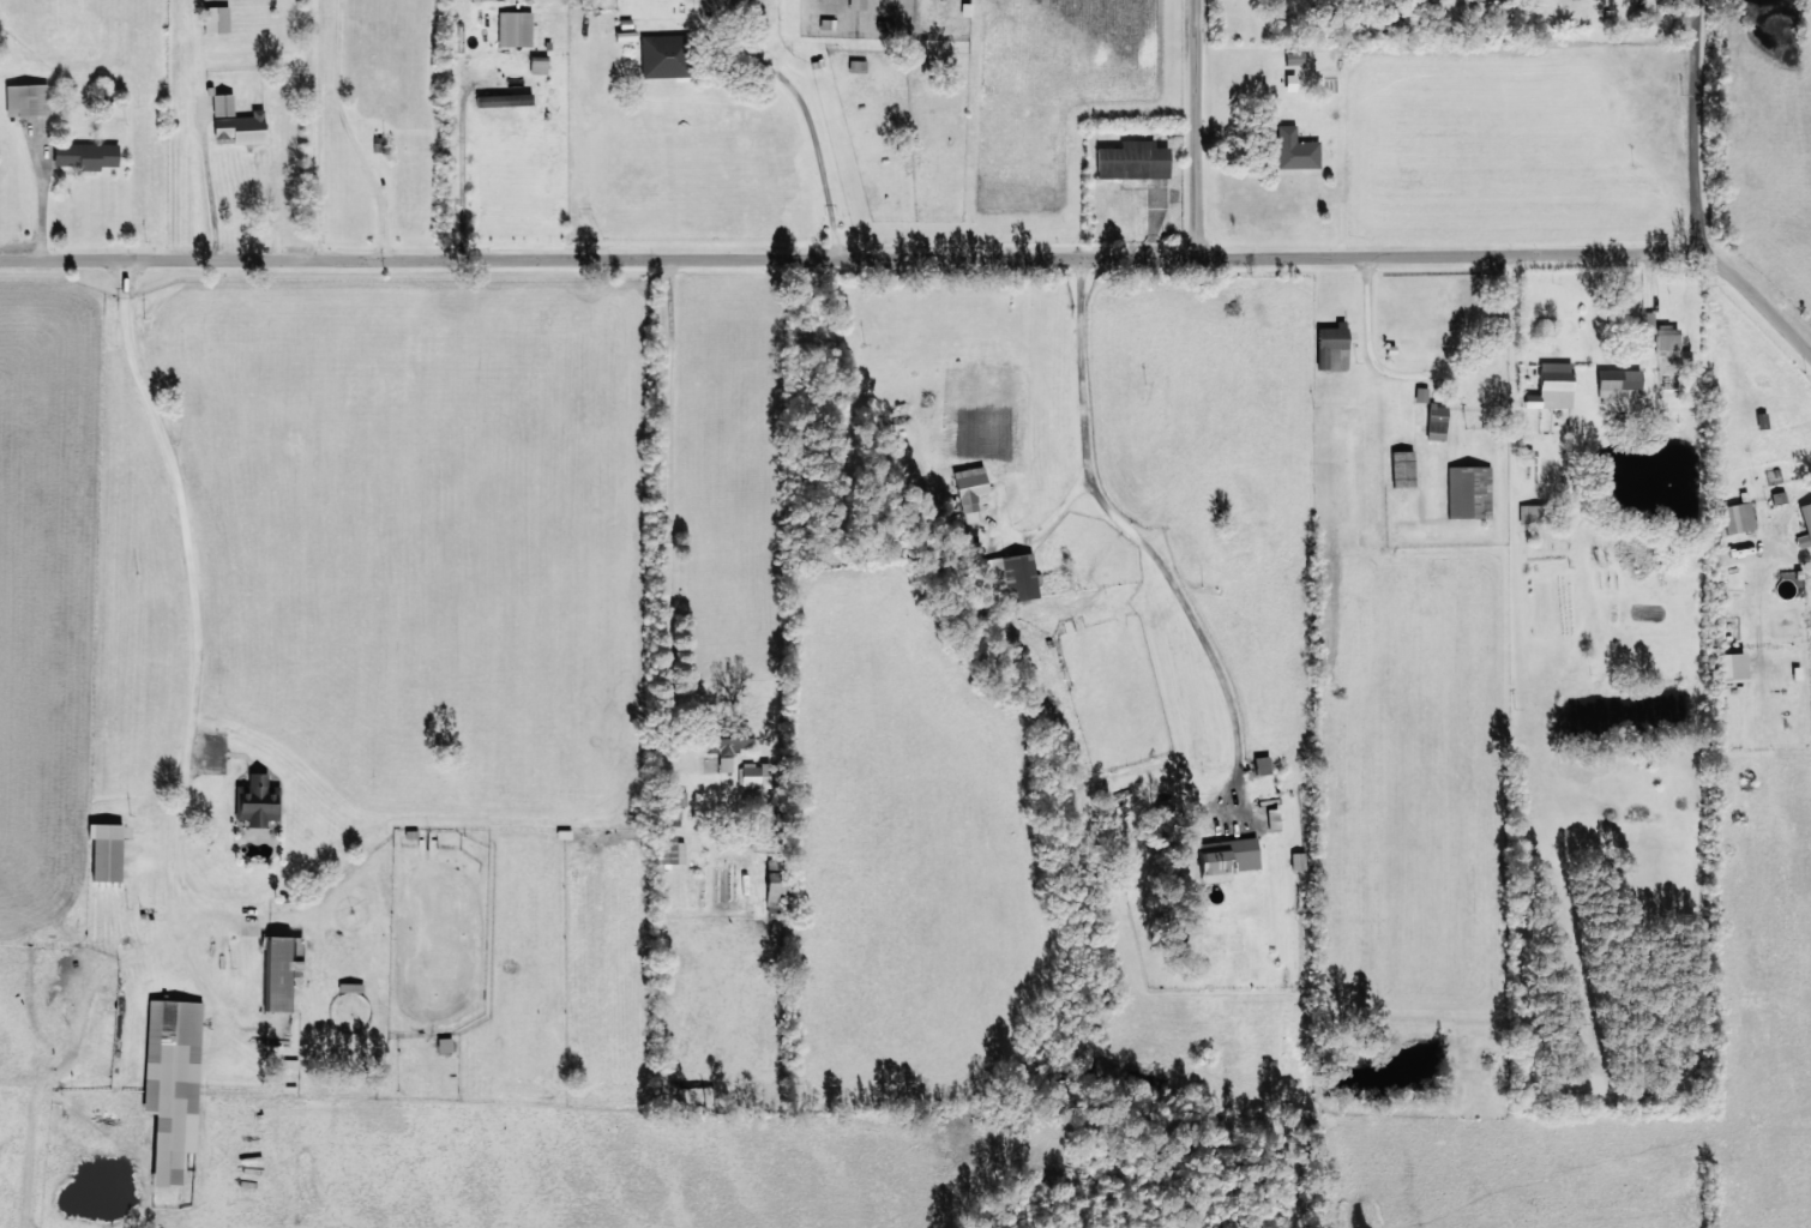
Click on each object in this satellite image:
building: (856, 5)
building: (215, 19)
building: (826, 24)
building: (884, 25)
building: (515, 28)
building: (664, 55)
building: (537, 65)
building: (856, 66)
building: (25, 100)
building: (504, 100)
building: (236, 121)
road: (1695, 142)
road: (814, 145)
road: (1213, 145)
road: (470, 146)
building: (1294, 150)
building: (85, 155)
building: (1132, 161)
road: (1528, 290)
road: (606, 293)
building: (1667, 338)
building: (1332, 347)
building: (1619, 383)
building: (1553, 386)
building: (1420, 395)
building: (1436, 421)
road: (903, 455)
building: (1402, 469)
building: (970, 492)
building: (1468, 492)
road: (1172, 493)
building: (1777, 496)
building: (1532, 513)
building: (1737, 517)
road: (676, 518)
building: (1805, 526)
building: (1021, 574)
building: (1732, 667)
building: (726, 750)
building: (1262, 764)
building: (754, 775)
building: (255, 800)
building: (1272, 819)
building: (674, 849)
building: (106, 850)
building: (1226, 857)
building: (1298, 860)
building: (774, 889)
building: (281, 968)
building: (444, 1043)
building: (172, 1082)

